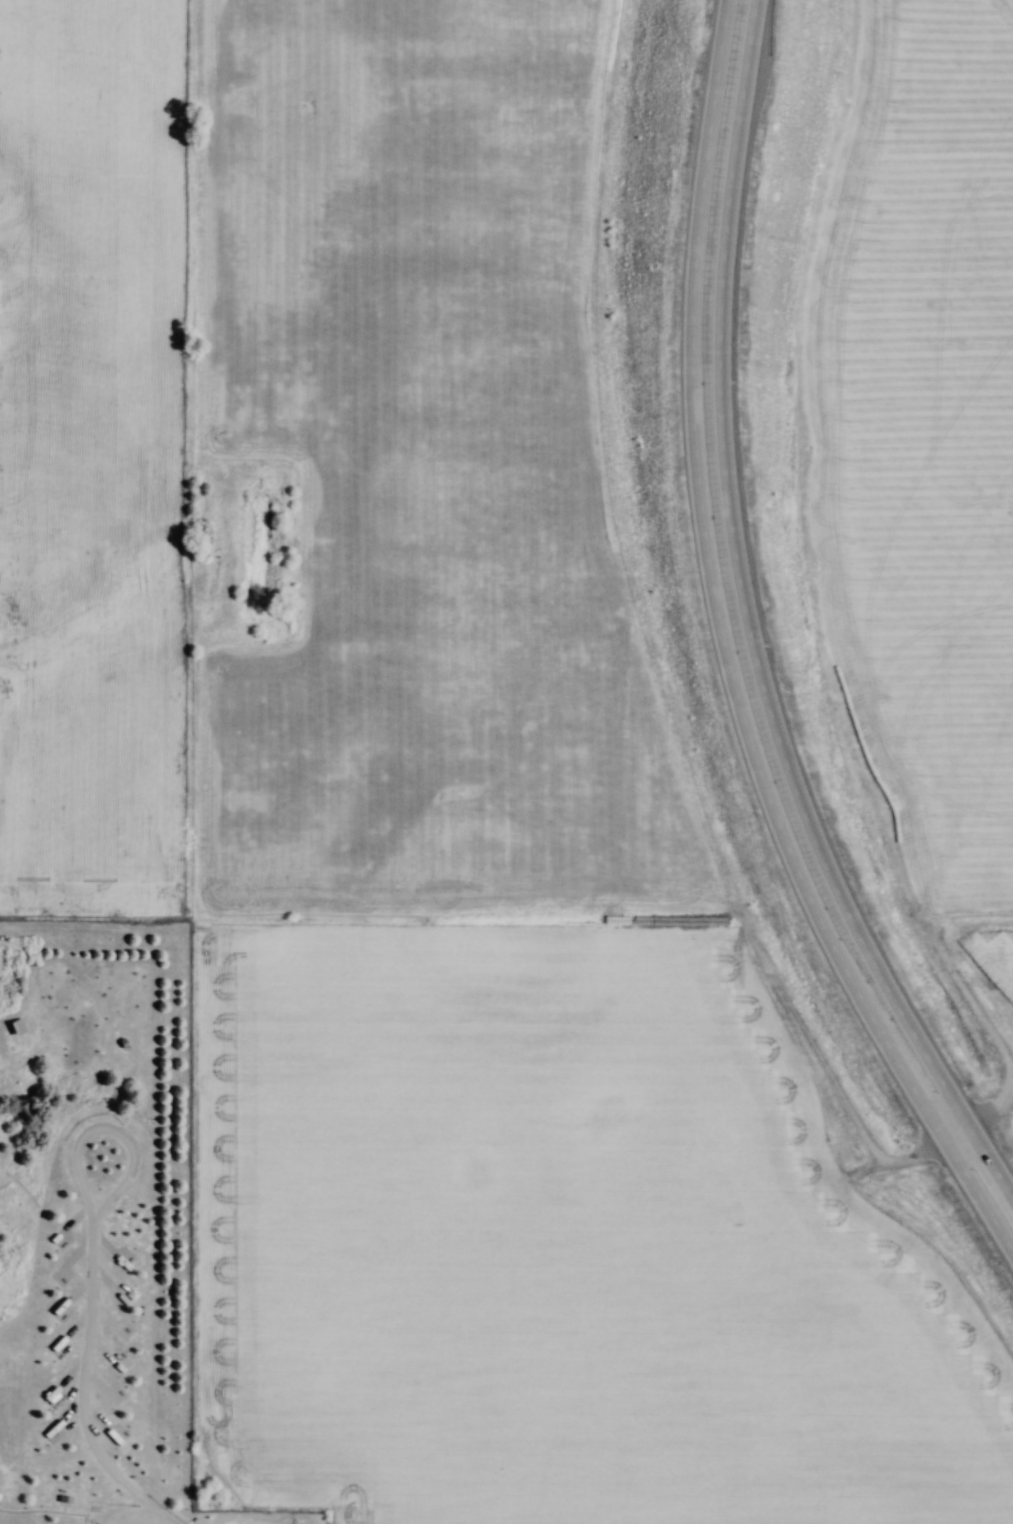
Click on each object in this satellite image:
crop: (922, 430)
road: (753, 620)
road: (732, 652)
crop: (995, 953)
building: (23, 1015)
road: (2, 1059)

